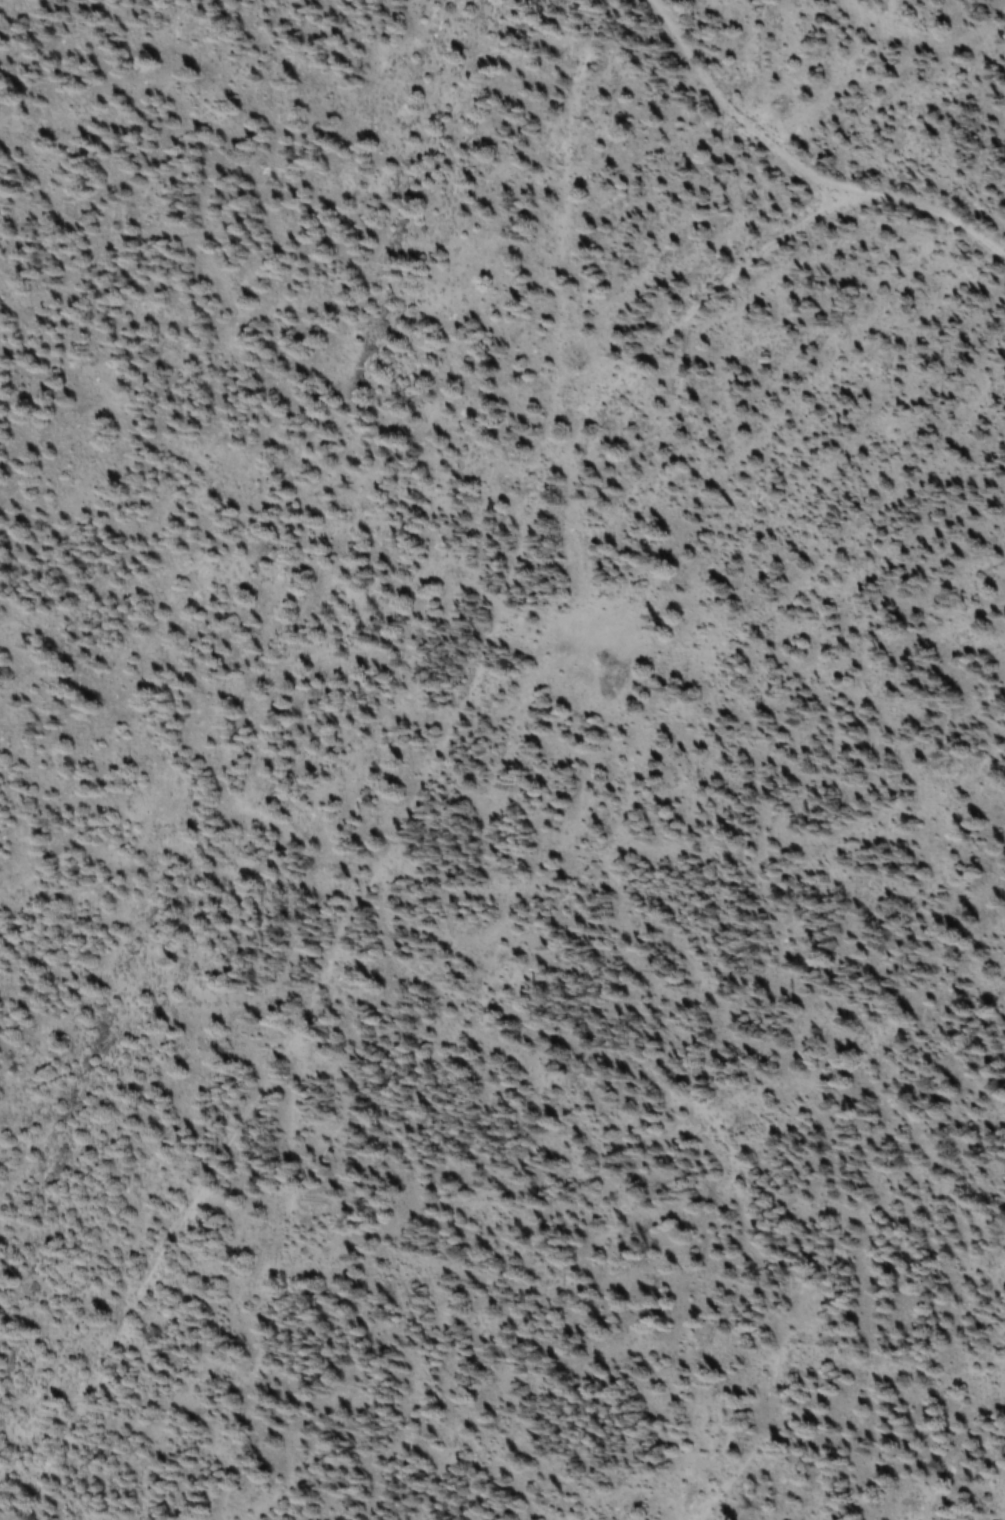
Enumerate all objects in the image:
road: (823, 160)

